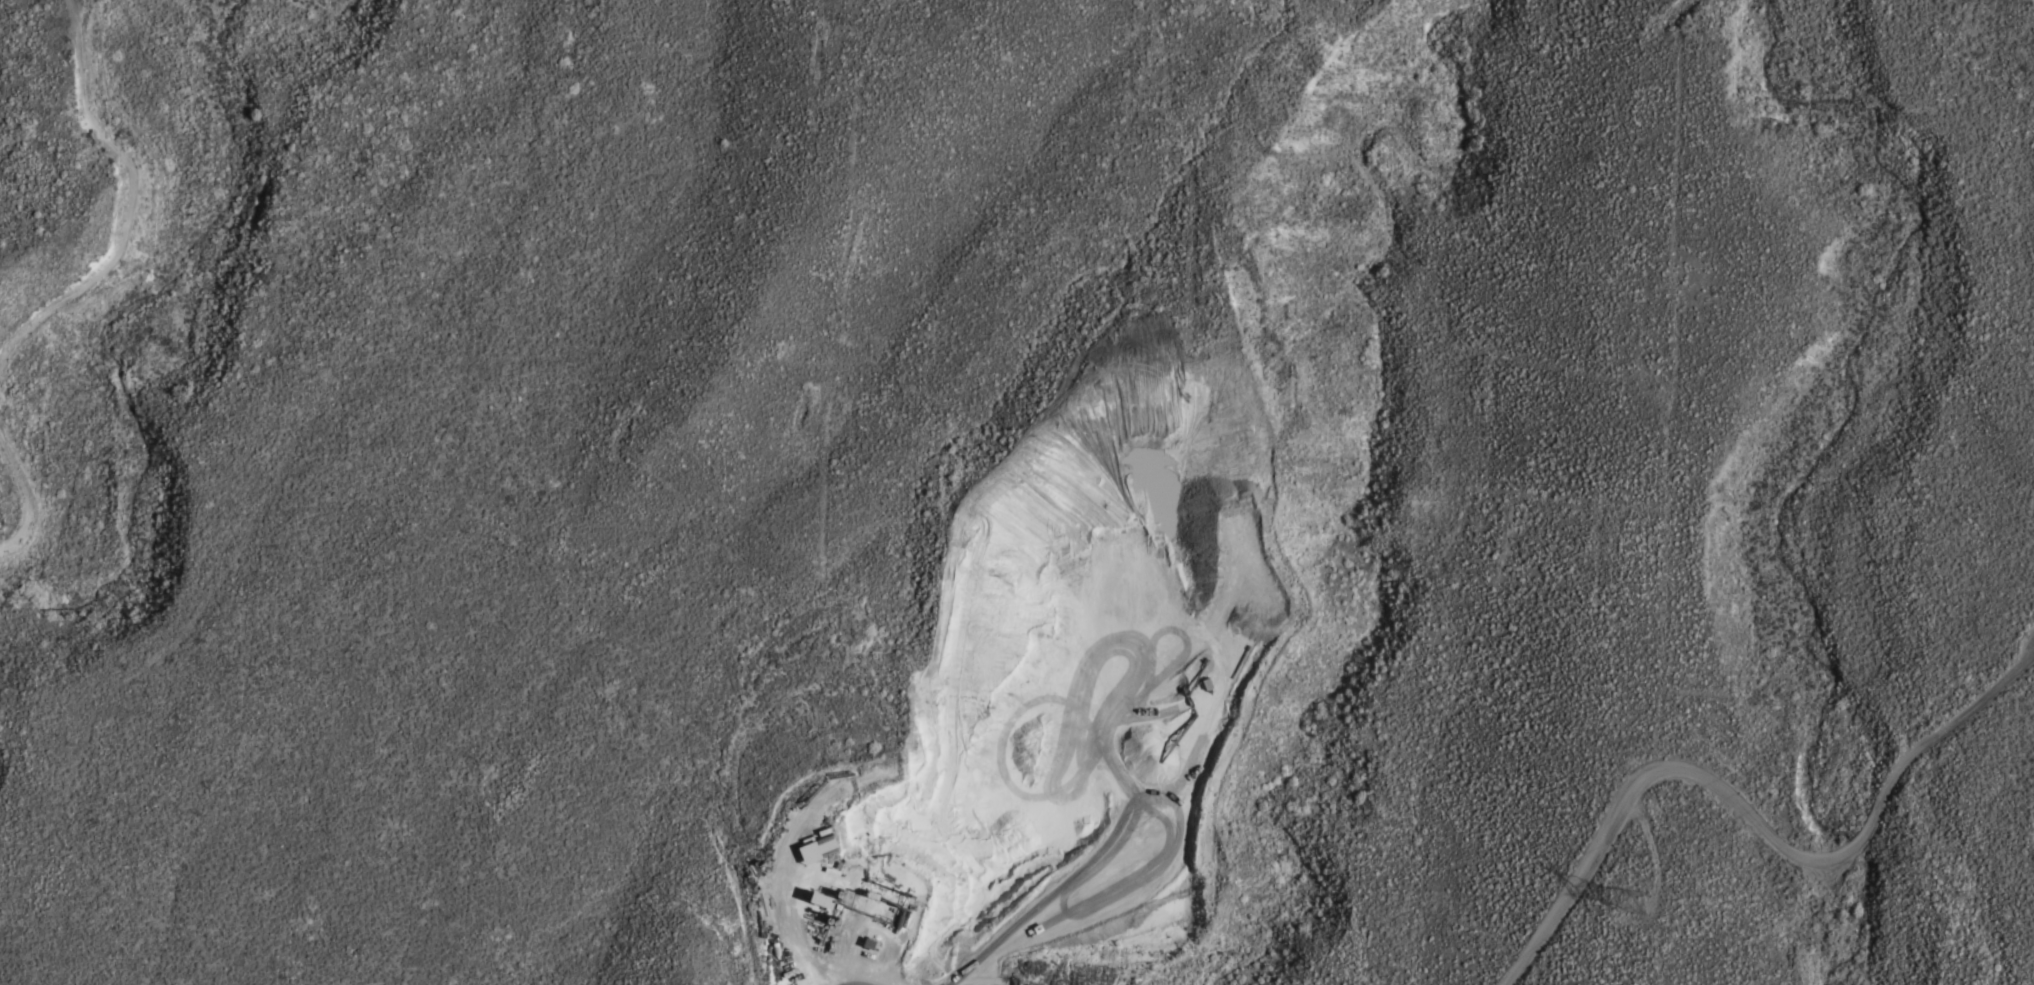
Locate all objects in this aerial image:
road: (86, 288)
quarry: (1064, 698)
road: (1755, 823)
road: (1059, 860)
building: (803, 865)
power tower: (1626, 891)
building: (825, 899)
building: (807, 916)

